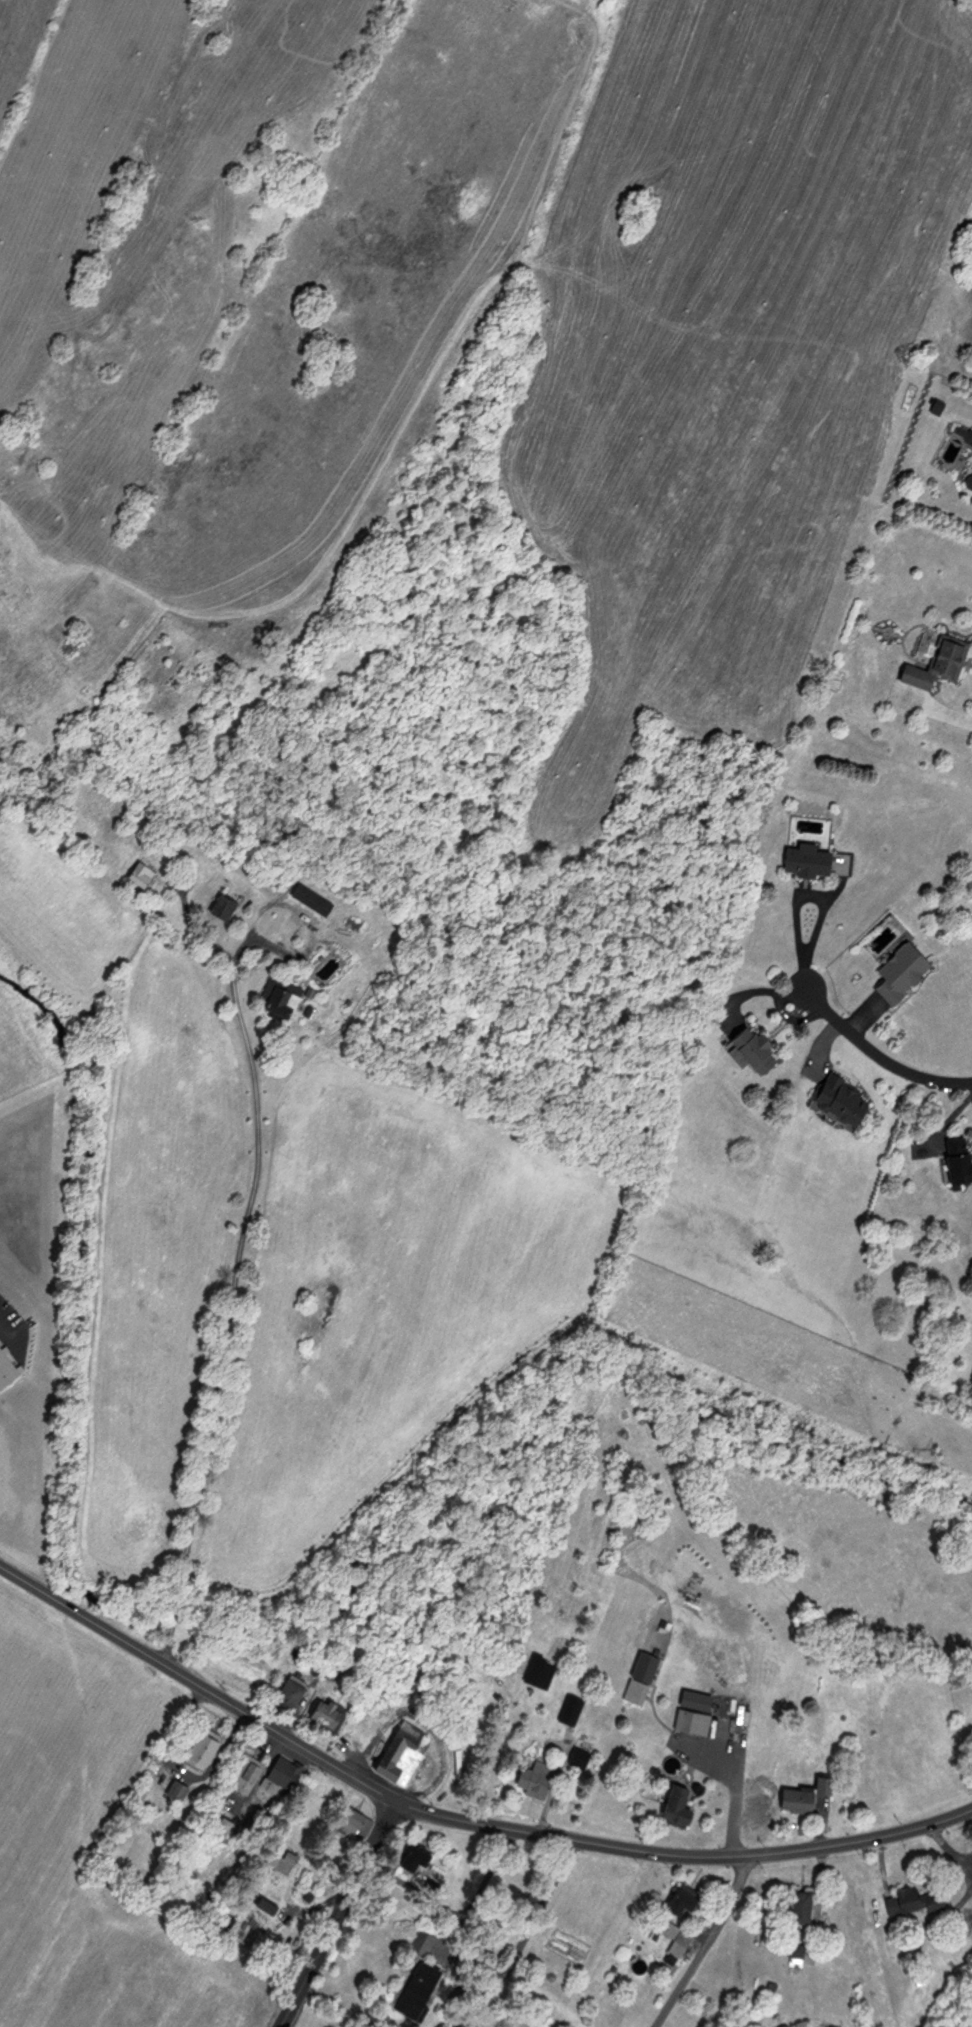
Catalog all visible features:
building: (969, 478)
building: (934, 659)
building: (805, 859)
building: (141, 873)
building: (311, 897)
building: (225, 908)
road: (210, 914)
road: (821, 919)
building: (899, 971)
building: (279, 1001)
building: (752, 1047)
road: (878, 1054)
building: (837, 1099)
building: (955, 1160)
road: (237, 1267)
road: (178, 1604)
road: (172, 1639)
building: (539, 1671)
building: (640, 1677)
building: (571, 1709)
building: (326, 1713)
building: (691, 1721)
building: (202, 1746)
building: (581, 1747)
building: (402, 1751)
building: (285, 1770)
building: (246, 1772)
building: (533, 1778)
building: (177, 1790)
building: (802, 1794)
building: (674, 1805)
road: (456, 1817)
building: (354, 1821)
building: (414, 1860)
road: (488, 1875)
building: (679, 1898)
building: (902, 1898)
road: (542, 1905)
building: (797, 1907)
road: (339, 1913)
building: (676, 1936)
road: (706, 1942)
building: (795, 1954)
building: (418, 1989)

